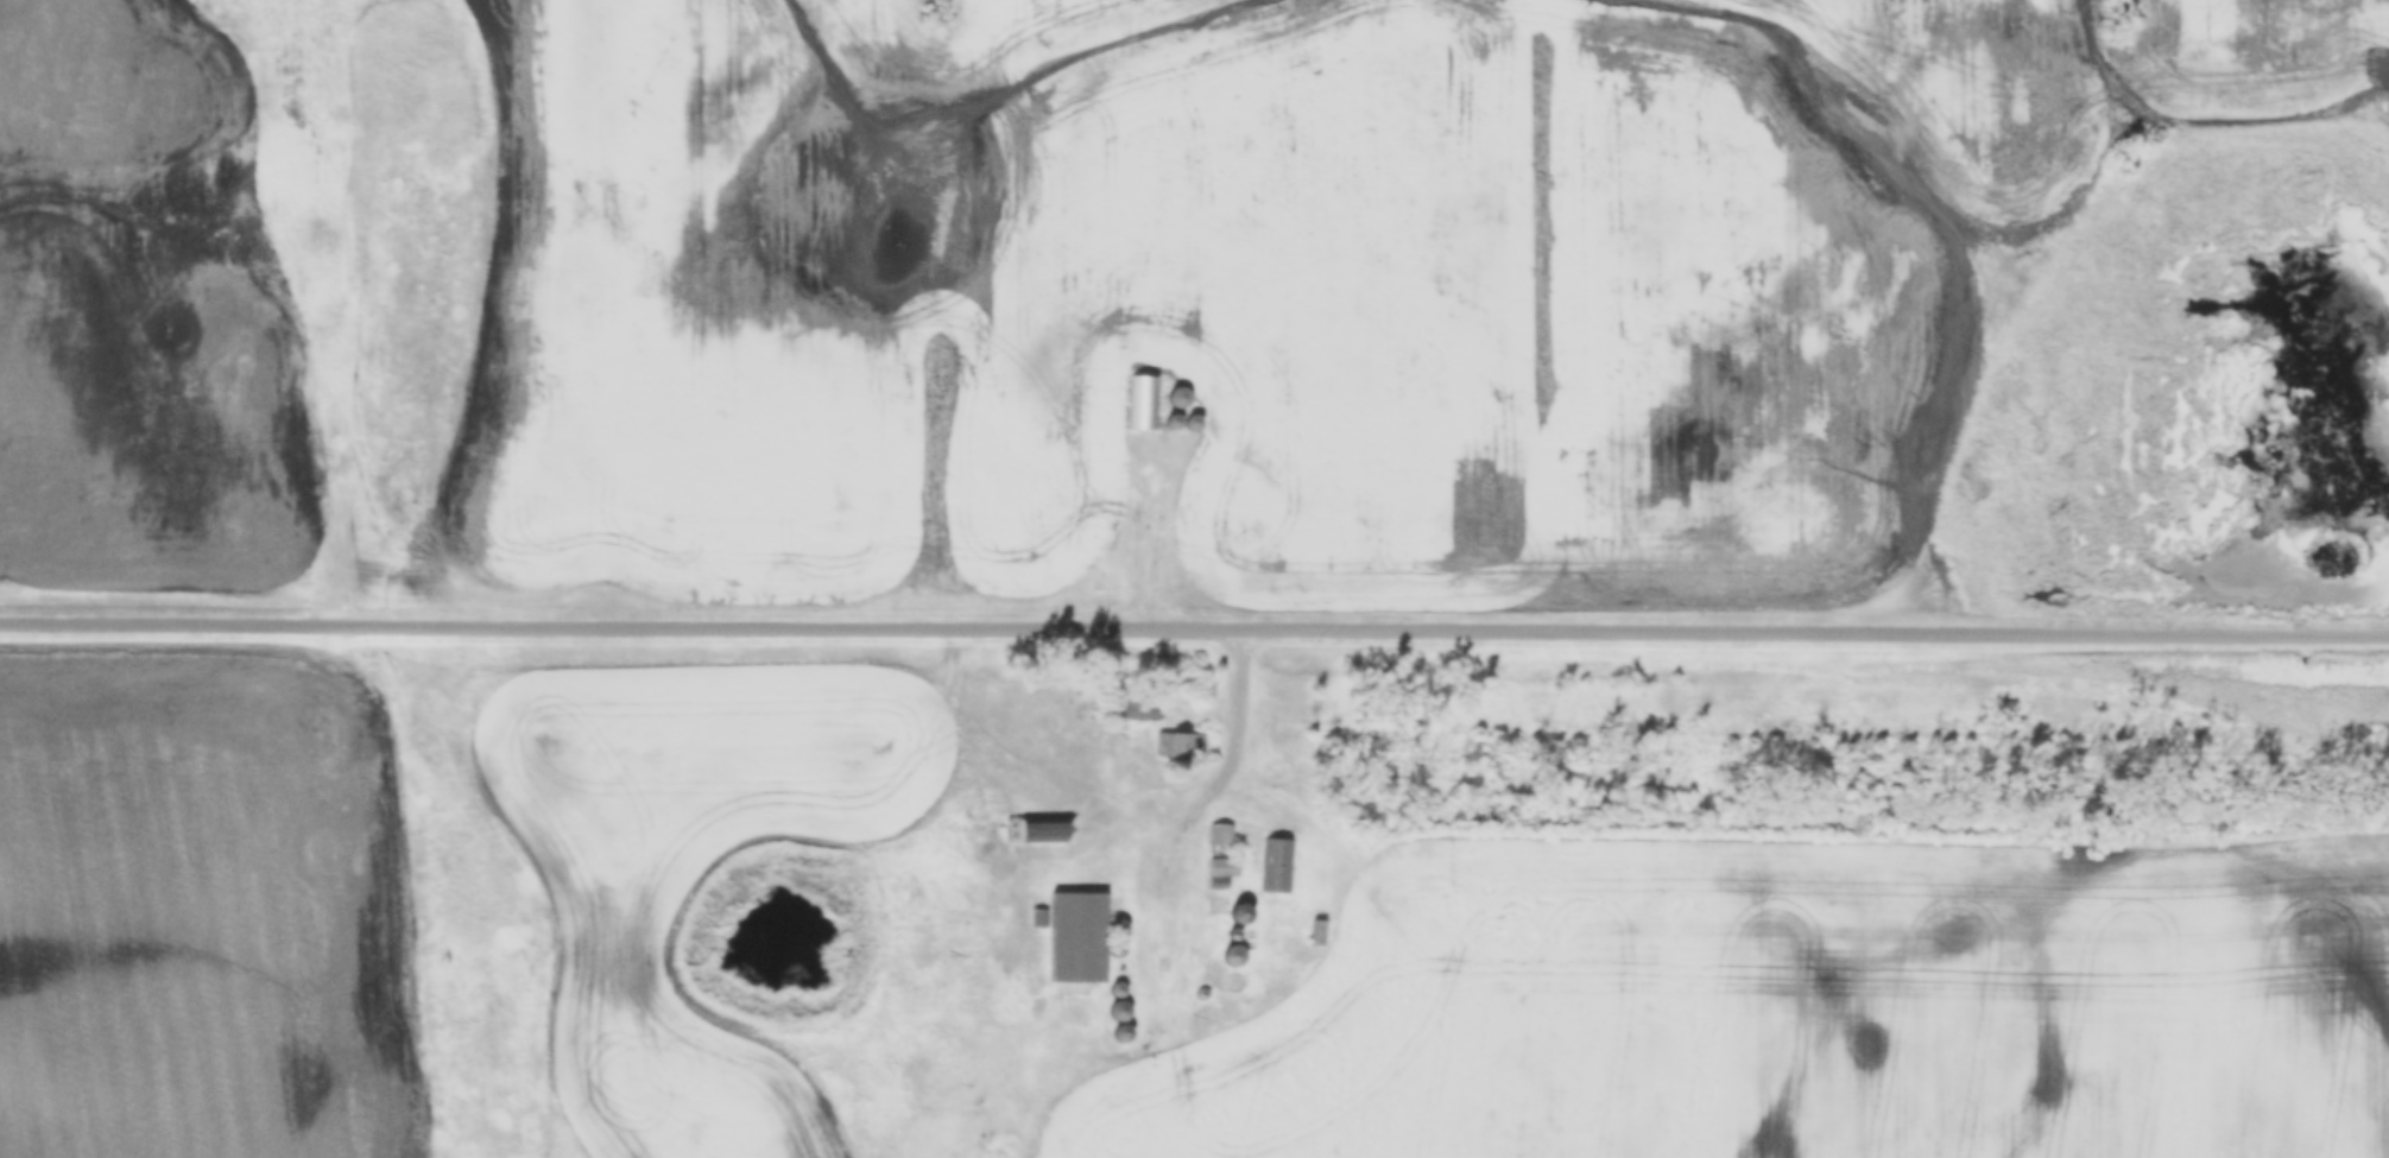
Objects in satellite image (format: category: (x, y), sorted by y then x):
road: (504, 322)
building: (1142, 403)
road: (1194, 627)
building: (1183, 746)
road: (1234, 753)
building: (1319, 934)
building: (1082, 937)

